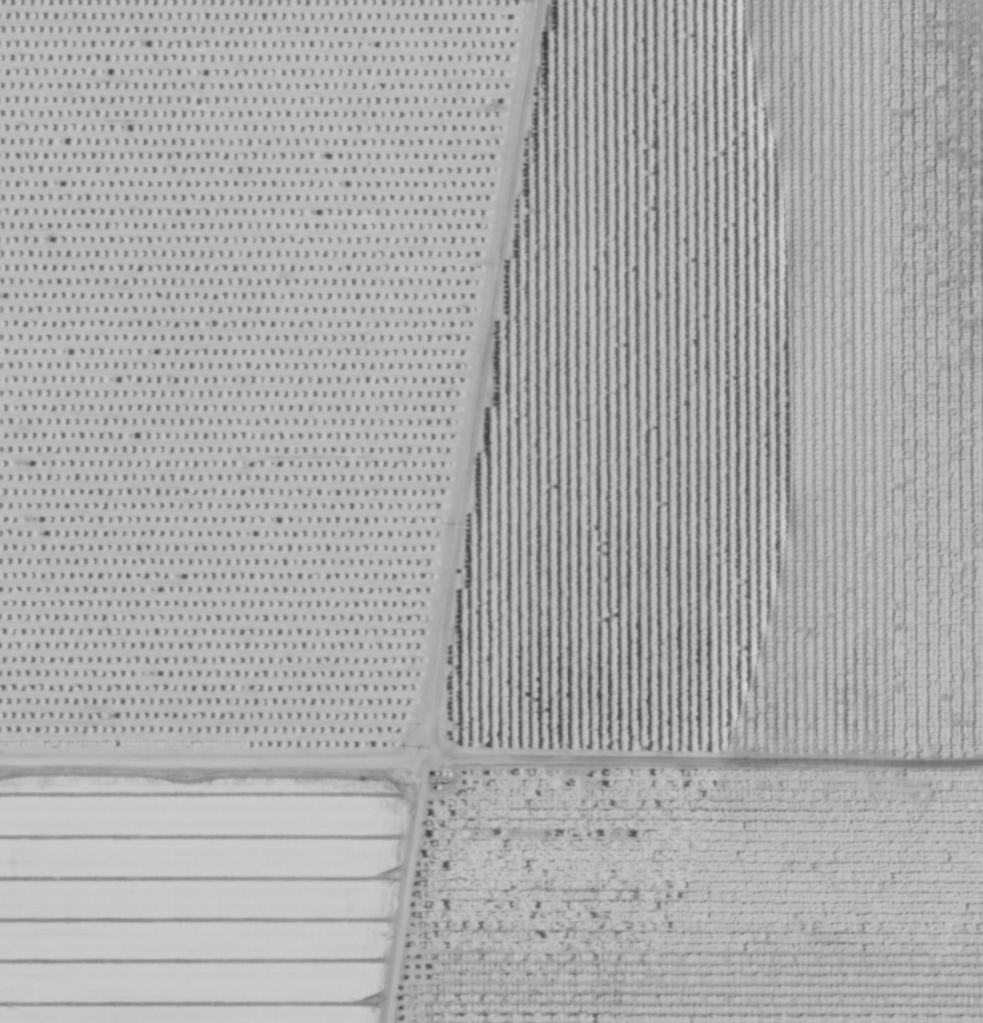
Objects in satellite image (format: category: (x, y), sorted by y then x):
road: (460, 511)
crop: (205, 889)

